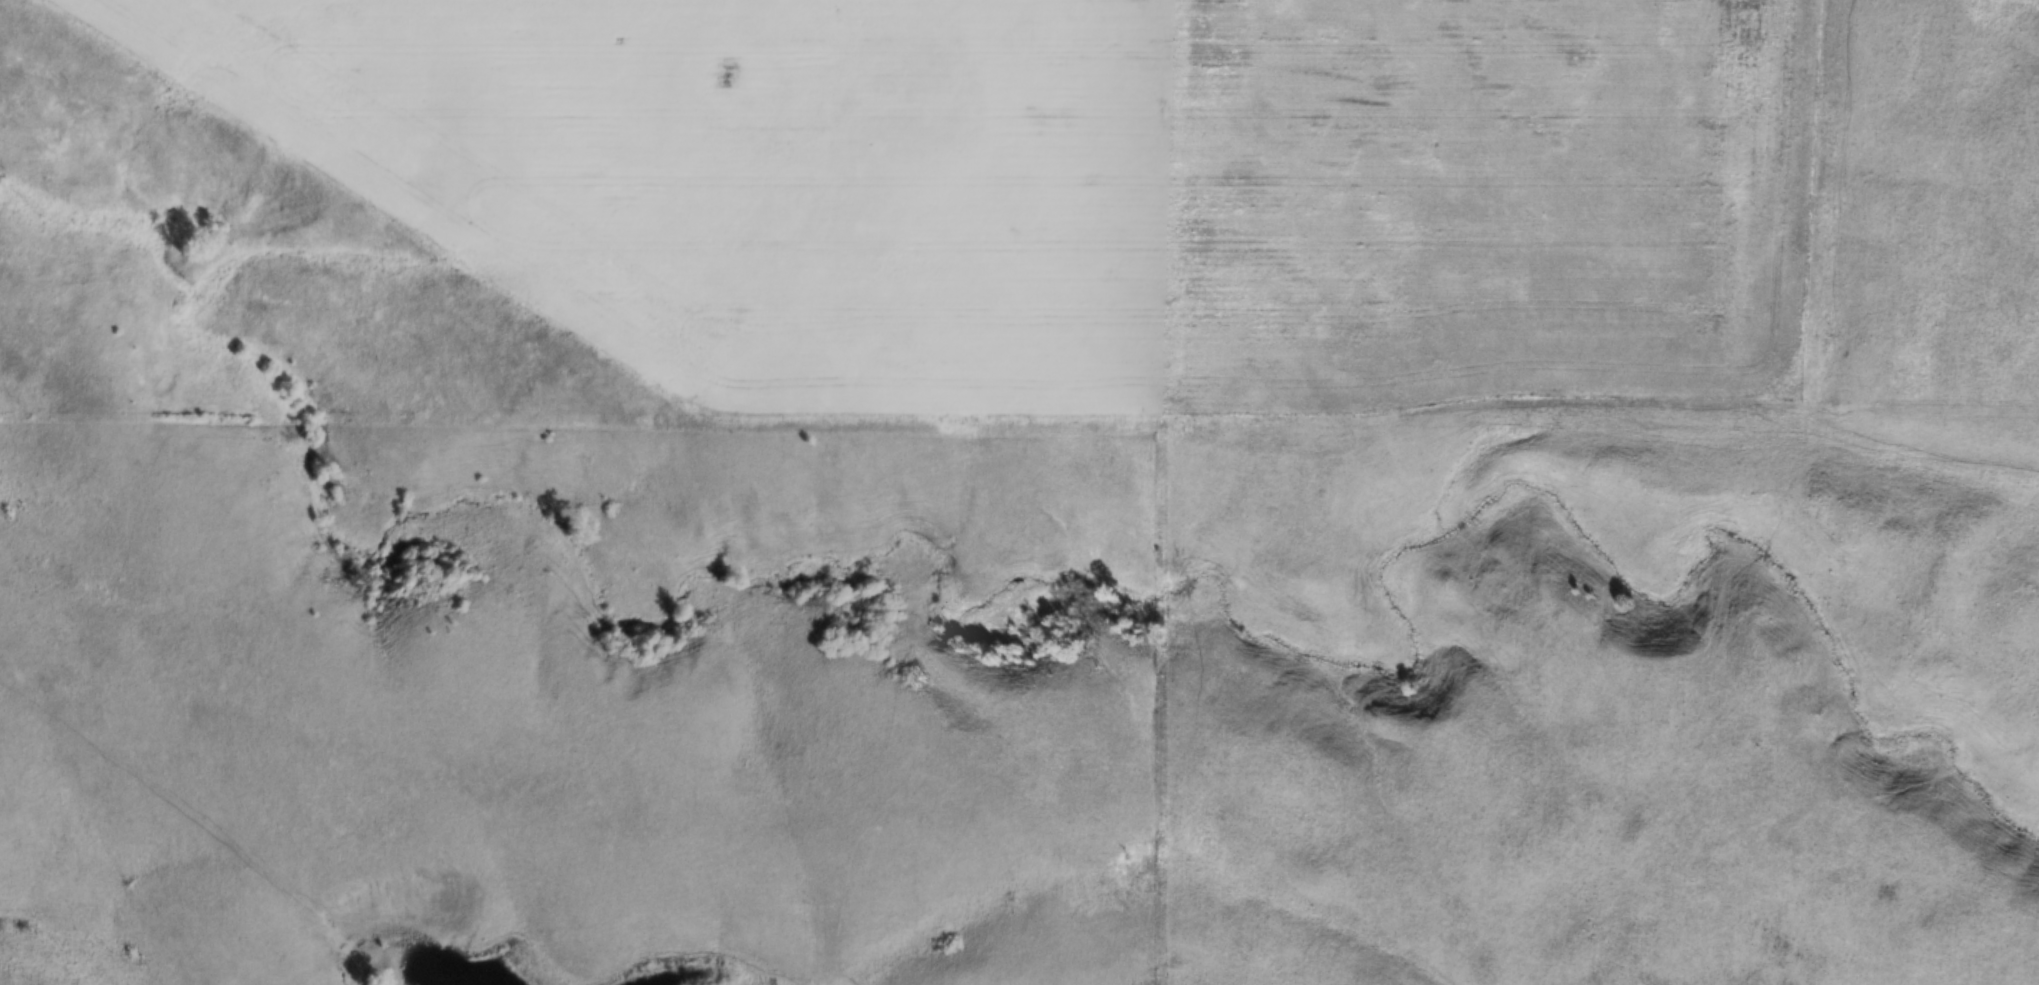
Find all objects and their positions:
road: (1019, 433)

